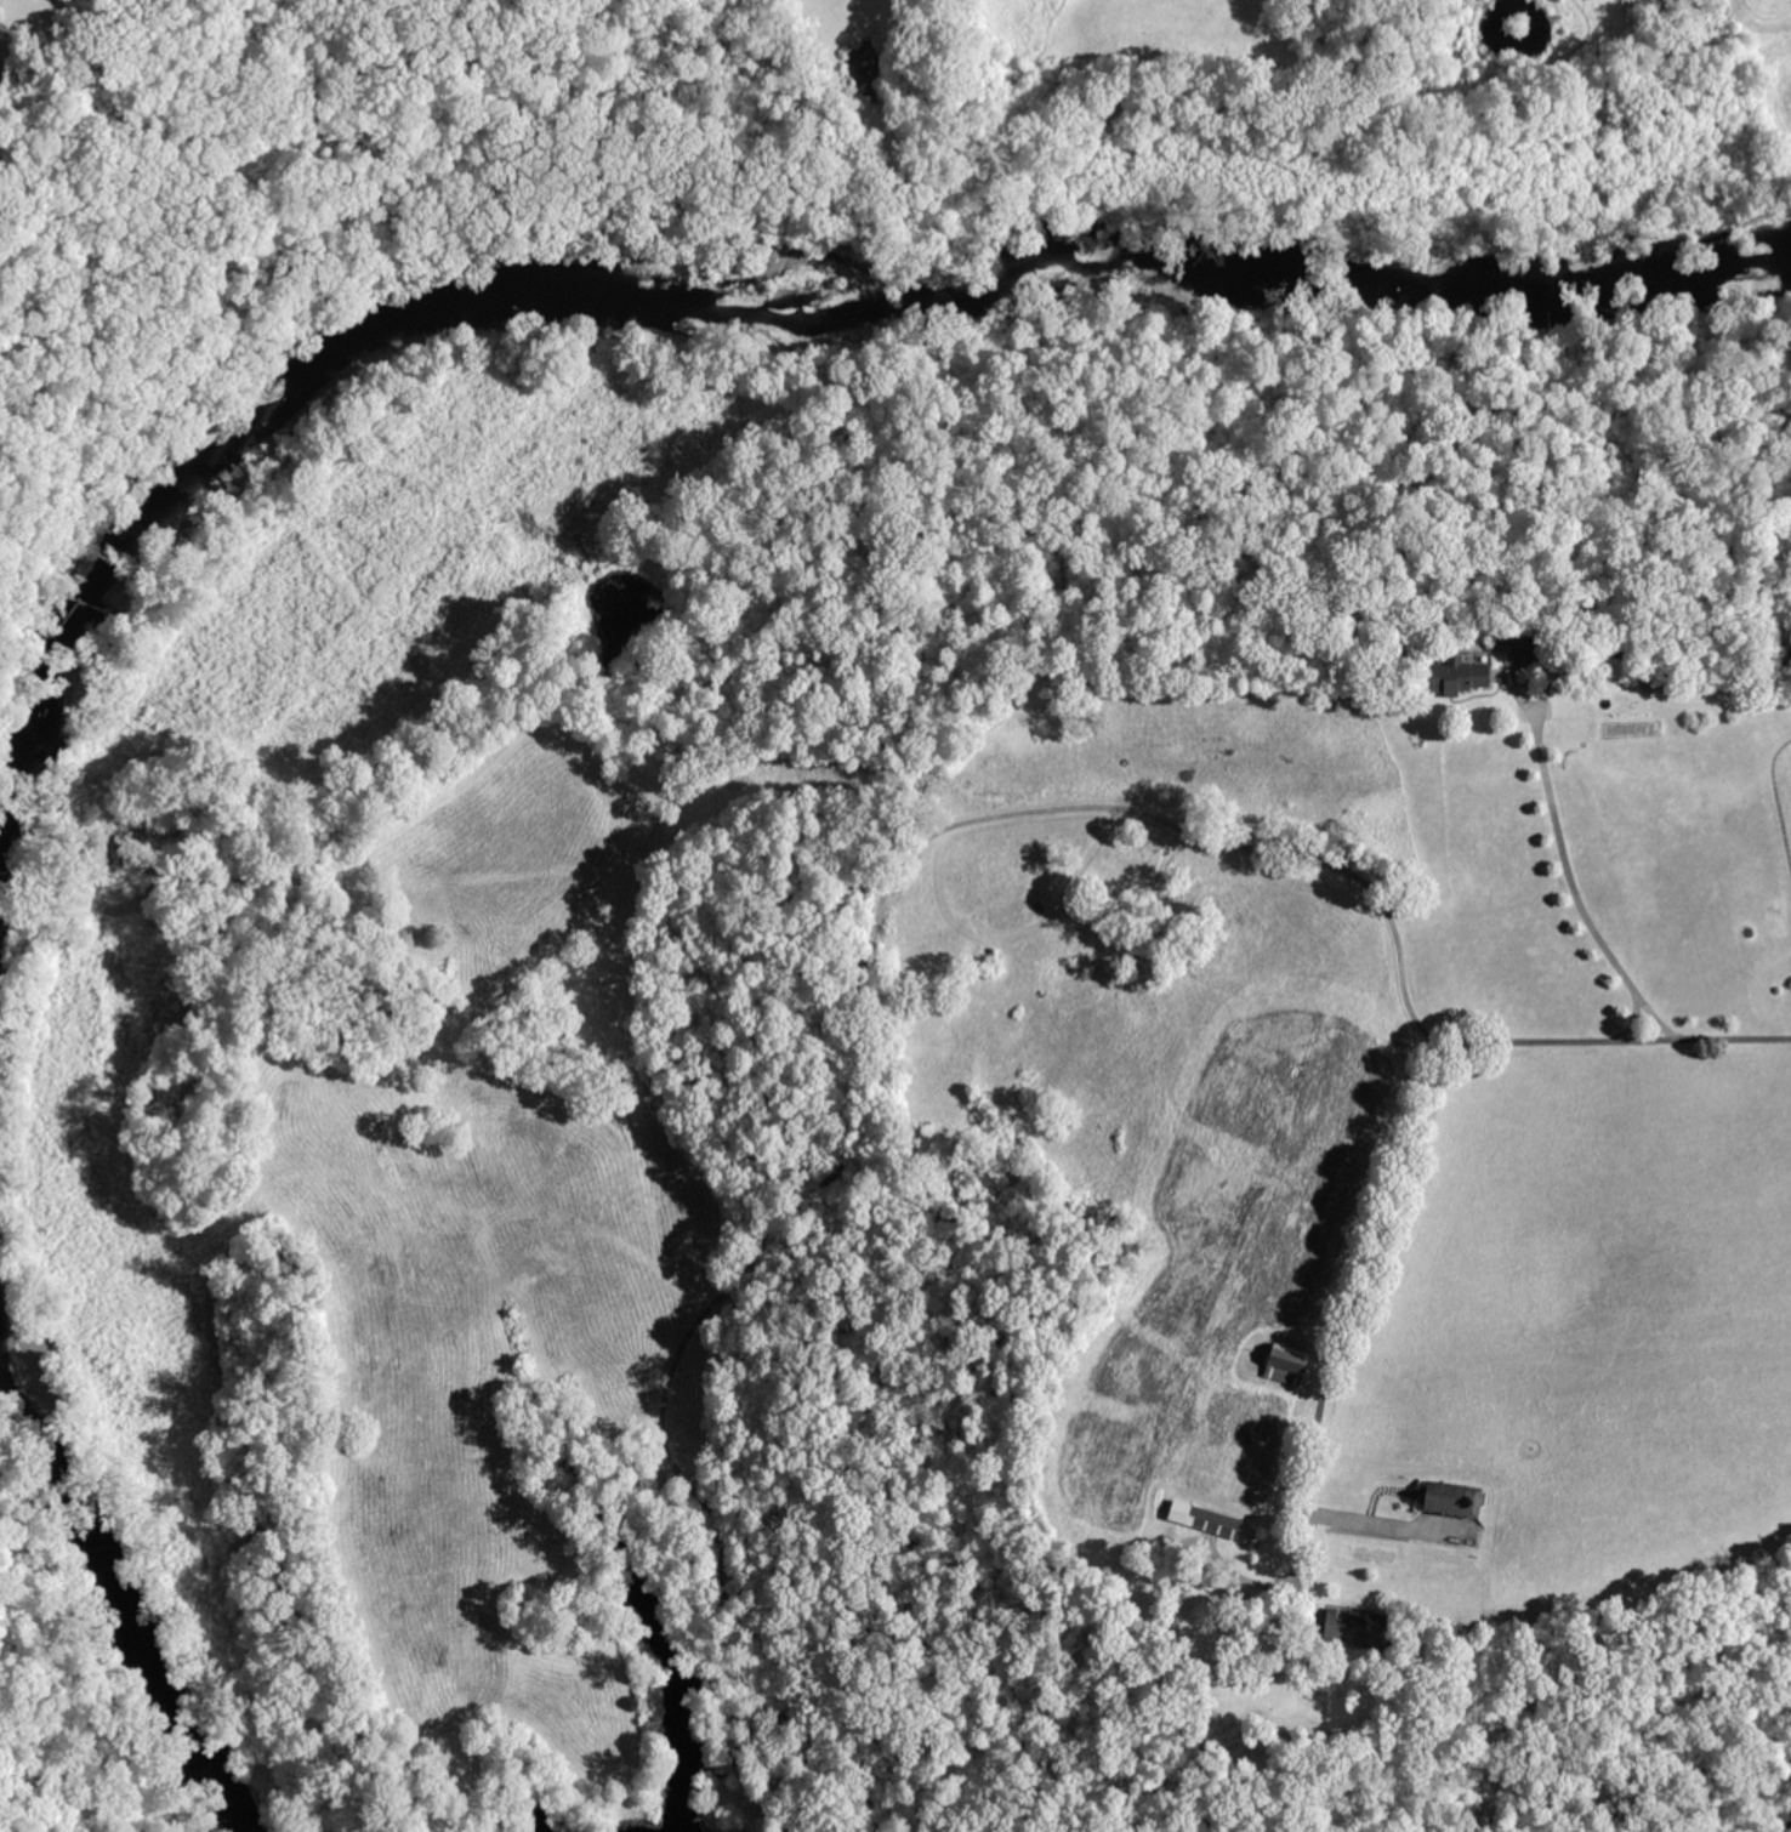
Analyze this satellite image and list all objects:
road: (379, 209)
river: (696, 324)
road: (273, 362)
building: (1526, 650)
building: (1604, 664)
building: (1457, 677)
road: (1567, 849)
road: (859, 978)
road: (1645, 1005)
road: (1411, 1140)
building: (1285, 1367)
building: (1454, 1500)
building: (1205, 1521)
road: (1387, 1521)
river: (131, 1530)
building: (1201, 1570)
building: (1186, 1586)
building: (1357, 1631)
road: (85, 1635)
building: (723, 1764)

